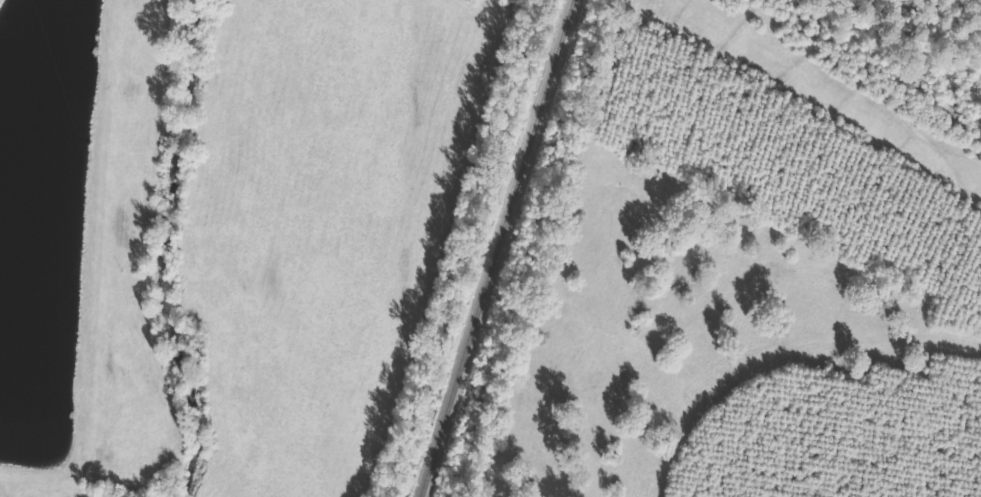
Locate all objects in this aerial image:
railway: (493, 248)

